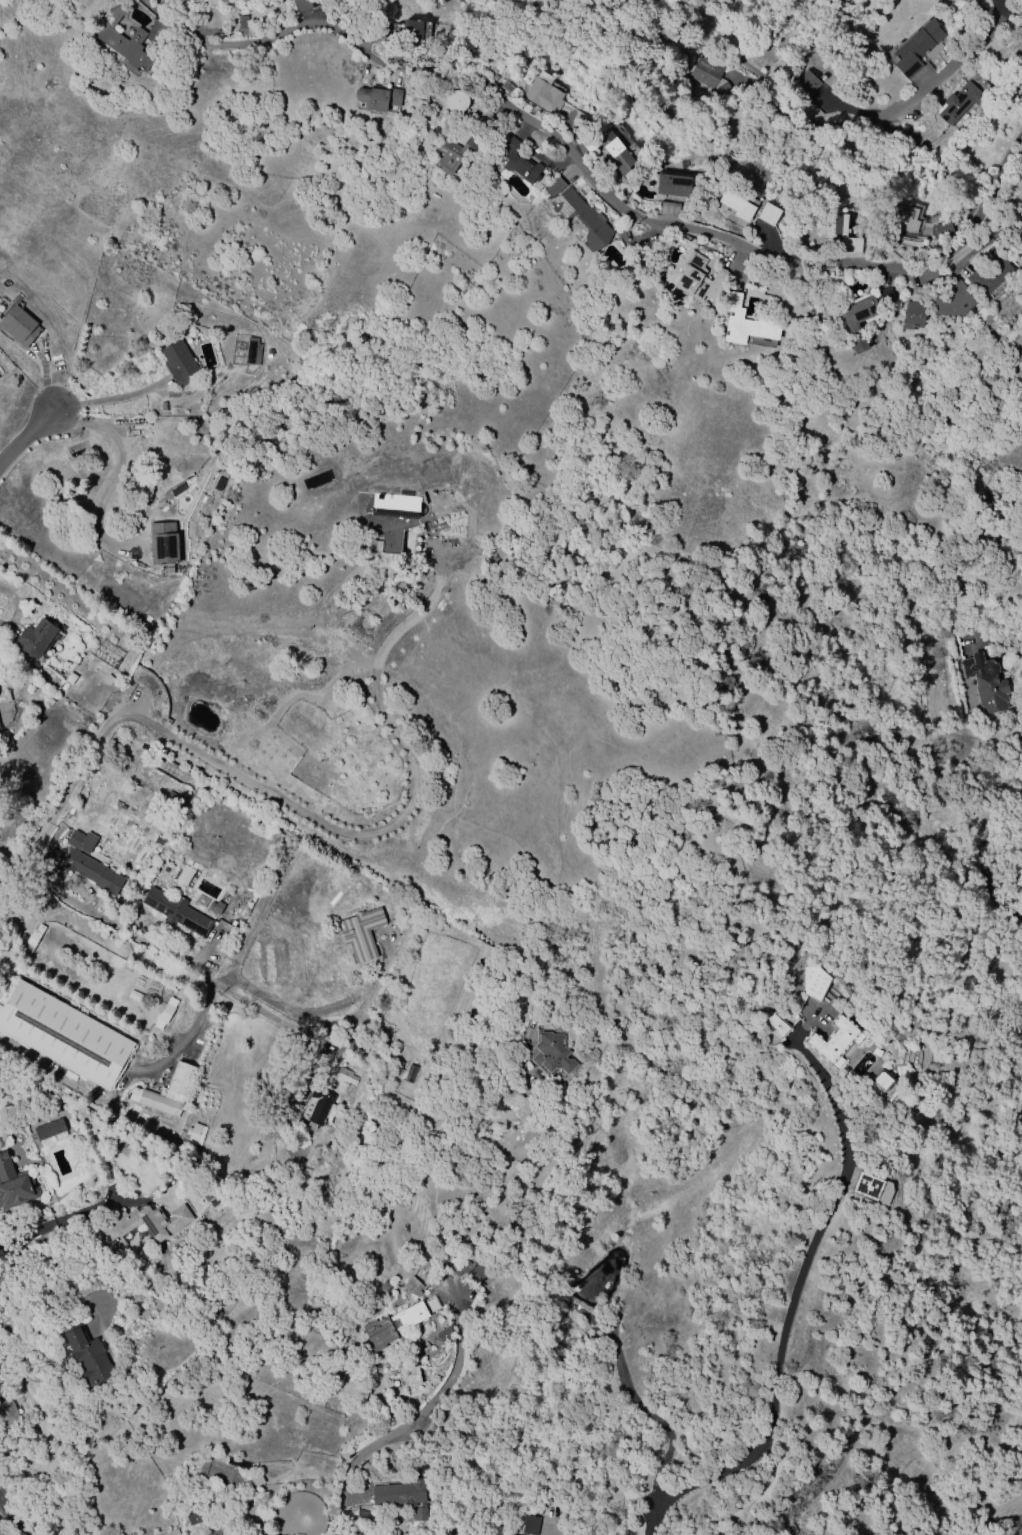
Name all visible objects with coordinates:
building: (340, 2)
road: (1012, 4)
building: (303, 5)
building: (242, 22)
road: (346, 28)
building: (411, 30)
building: (155, 32)
road: (704, 36)
building: (122, 39)
building: (915, 48)
building: (709, 77)
building: (806, 84)
building: (507, 87)
building: (543, 94)
building: (378, 99)
building: (456, 101)
building: (959, 103)
road: (888, 120)
building: (617, 153)
building: (455, 155)
building: (519, 163)
building: (672, 185)
building: (736, 206)
building: (768, 214)
building: (578, 215)
building: (902, 217)
building: (941, 230)
building: (840, 233)
road: (759, 259)
building: (989, 274)
building: (698, 279)
building: (885, 297)
building: (953, 301)
building: (855, 314)
building: (913, 315)
building: (745, 322)
building: (18, 327)
building: (859, 346)
building: (251, 352)
building: (179, 363)
road: (105, 400)
road: (23, 437)
road: (118, 471)
building: (218, 484)
building: (391, 527)
building: (164, 543)
building: (34, 638)
road: (1001, 641)
building: (70, 678)
building: (985, 683)
building: (4, 698)
building: (0, 728)
road: (67, 793)
road: (408, 807)
building: (215, 816)
building: (159, 840)
building: (81, 841)
road: (982, 865)
building: (92, 872)
building: (184, 876)
building: (175, 911)
building: (361, 933)
building: (31, 940)
building: (814, 982)
road: (218, 986)
building: (0, 1007)
building: (164, 1014)
building: (779, 1024)
building: (67, 1035)
building: (832, 1040)
building: (550, 1053)
building: (409, 1074)
building: (344, 1076)
building: (881, 1080)
building: (165, 1092)
building: (317, 1108)
building: (50, 1133)
building: (194, 1134)
building: (14, 1184)
building: (867, 1187)
building: (207, 1191)
building: (277, 1191)
building: (215, 1200)
road: (62, 1219)
building: (162, 1226)
building: (461, 1268)
building: (476, 1273)
building: (412, 1287)
building: (386, 1288)
road: (794, 1292)
building: (391, 1327)
building: (87, 1356)
road: (631, 1398)
building: (8, 1412)
road: (411, 1421)
building: (256, 1480)
building: (401, 1494)
road: (9, 1514)
building: (419, 1514)
building: (529, 1525)
road: (8, 1530)
building: (364, 1531)
road: (1019, 1532)
building: (171, 1533)
building: (404, 1534)

